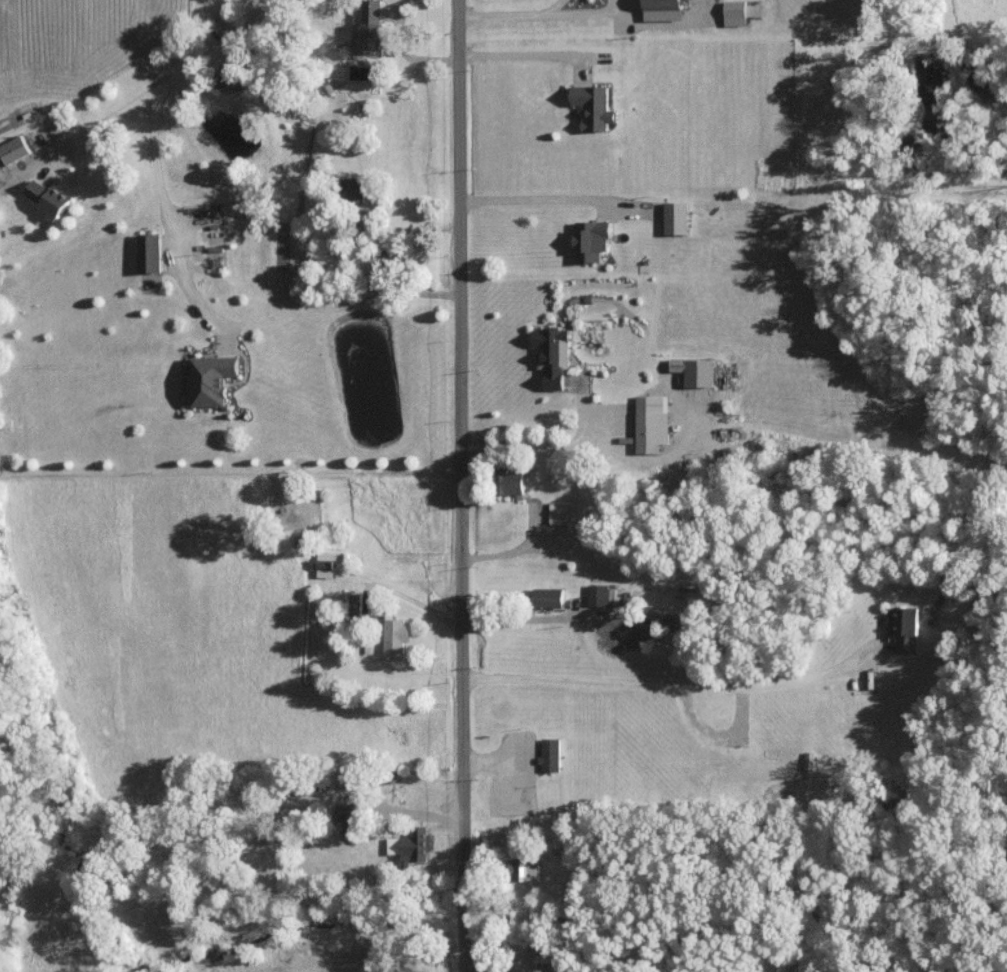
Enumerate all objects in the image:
road: (552, 6)
building: (664, 10)
road: (585, 12)
building: (735, 13)
road: (498, 14)
building: (372, 25)
road: (519, 56)
road: (187, 64)
building: (593, 107)
building: (13, 149)
building: (353, 189)
building: (48, 199)
road: (542, 200)
building: (676, 218)
road: (162, 219)
building: (590, 240)
building: (149, 253)
building: (553, 355)
building: (695, 371)
building: (212, 379)
building: (651, 423)
road: (460, 431)
road: (586, 444)
building: (511, 483)
building: (559, 513)
building: (325, 565)
building: (598, 594)
building: (548, 597)
building: (905, 627)
building: (396, 635)
road: (678, 685)
building: (550, 754)
building: (348, 812)
building: (411, 845)
building: (524, 868)
road: (464, 882)
road: (464, 936)

